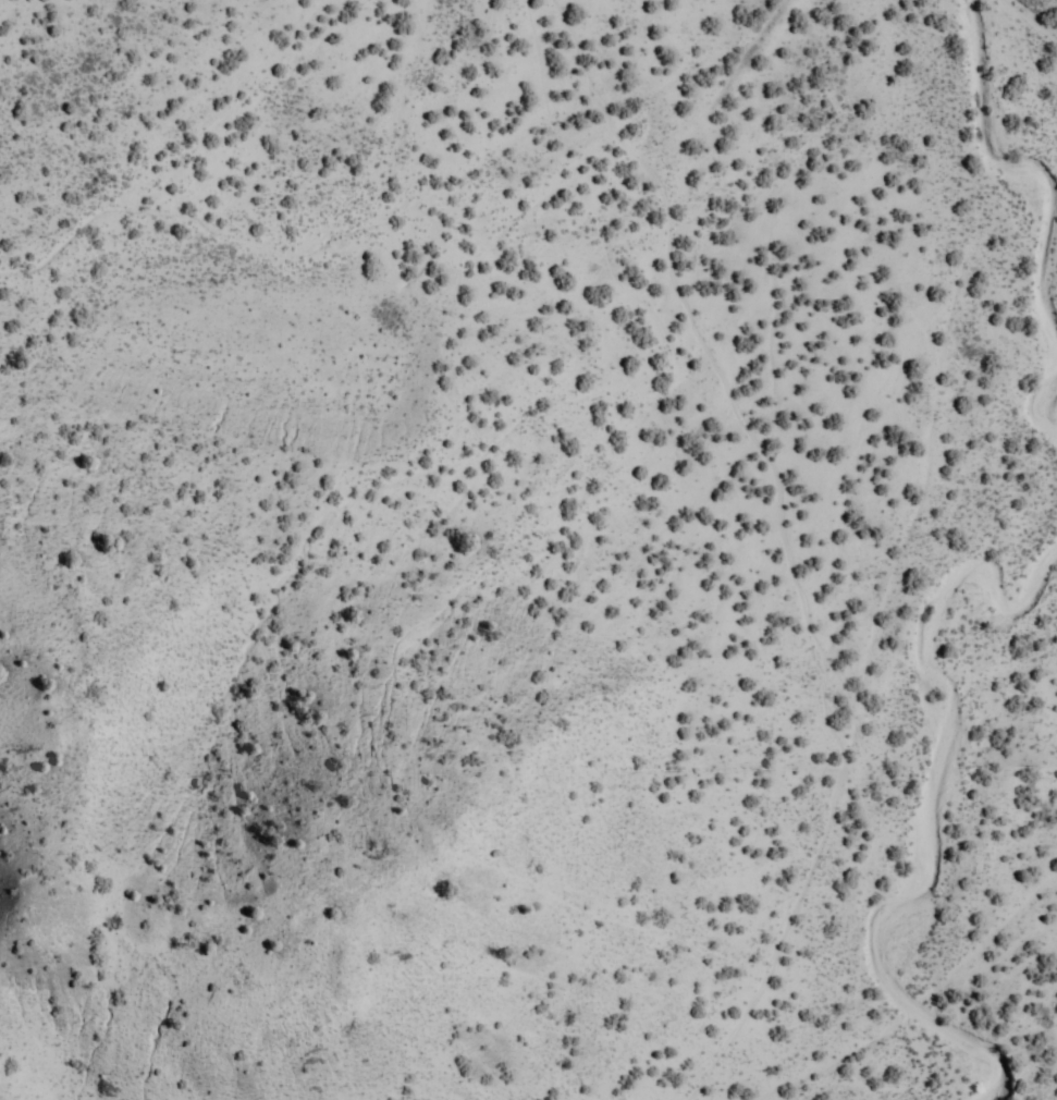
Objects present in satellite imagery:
road: (914, 1015)

